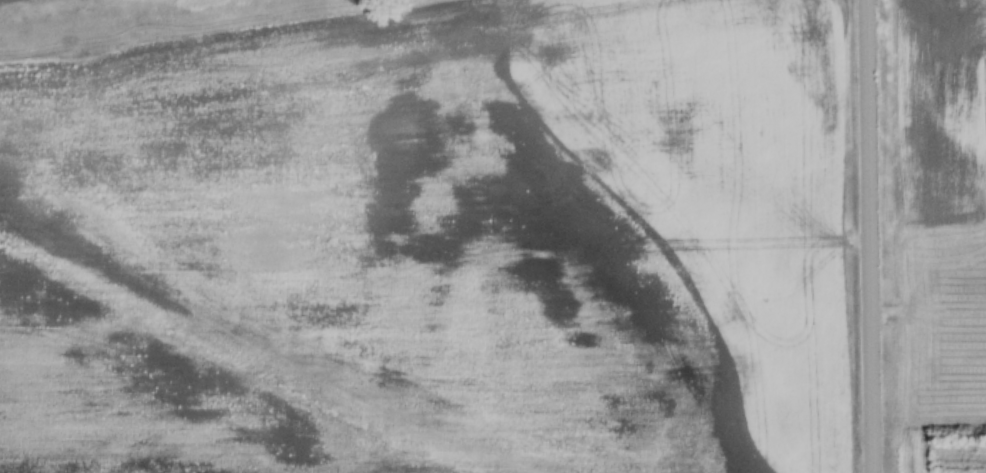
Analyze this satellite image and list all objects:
road: (869, 236)

